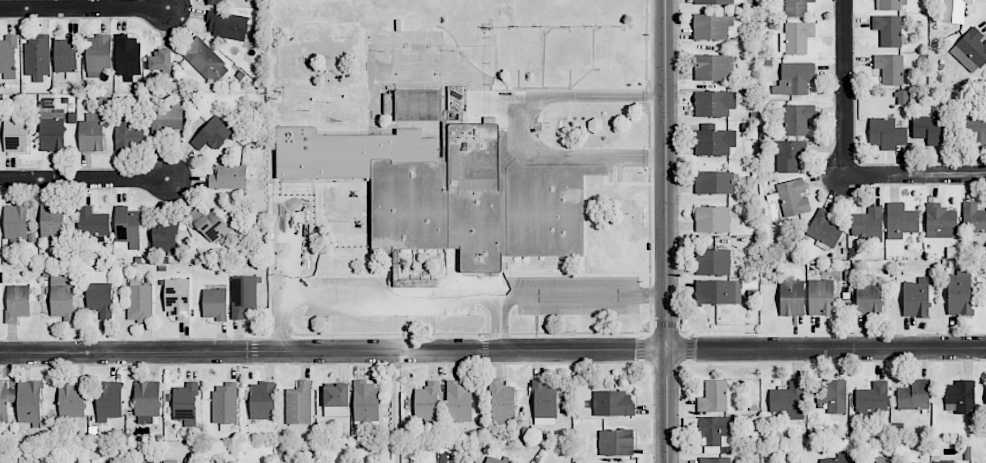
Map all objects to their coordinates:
building: (215, 1)
building: (714, 2)
building: (891, 4)
building: (796, 8)
road: (82, 10)
building: (954, 10)
building: (227, 25)
building: (712, 26)
building: (889, 30)
building: (797, 37)
building: (971, 50)
building: (99, 53)
building: (8, 54)
building: (66, 54)
building: (127, 55)
building: (37, 57)
building: (161, 59)
building: (205, 60)
building: (712, 68)
building: (890, 69)
building: (794, 79)
road: (845, 87)
building: (714, 103)
building: (419, 105)
building: (798, 118)
building: (166, 119)
road: (520, 127)
building: (929, 129)
building: (975, 130)
building: (52, 131)
building: (16, 133)
building: (91, 133)
building: (886, 133)
building: (212, 134)
building: (128, 135)
building: (714, 140)
building: (787, 155)
road: (916, 174)
building: (228, 177)
road: (85, 181)
building: (714, 183)
building: (451, 191)
building: (793, 198)
building: (973, 218)
building: (712, 219)
building: (901, 220)
building: (940, 221)
building: (92, 222)
building: (15, 223)
building: (210, 224)
building: (868, 224)
building: (128, 226)
building: (824, 228)
road: (665, 231)
building: (164, 237)
road: (293, 251)
building: (712, 262)
building: (717, 292)
building: (100, 293)
building: (959, 293)
building: (243, 295)
road: (449, 296)
building: (62, 297)
building: (821, 297)
building: (178, 298)
building: (792, 298)
building: (916, 298)
building: (868, 299)
building: (17, 302)
building: (140, 303)
building: (215, 304)
road: (498, 324)
street lamp: (648, 330)
road: (493, 351)
building: (833, 395)
building: (914, 396)
building: (961, 396)
building: (713, 397)
building: (71, 399)
building: (5, 400)
building: (336, 400)
building: (871, 400)
building: (109, 401)
building: (147, 401)
building: (262, 401)
building: (365, 401)
building: (788, 401)
building: (29, 402)
building: (501, 402)
building: (185, 403)
building: (225, 403)
building: (299, 403)
building: (458, 403)
building: (544, 403)
building: (427, 404)
building: (613, 404)
building: (716, 431)
building: (616, 443)
building: (445, 458)
building: (839, 458)
building: (495, 460)
building: (714, 460)
building: (883, 460)
building: (170, 461)
building: (943, 461)
building: (215, 462)

